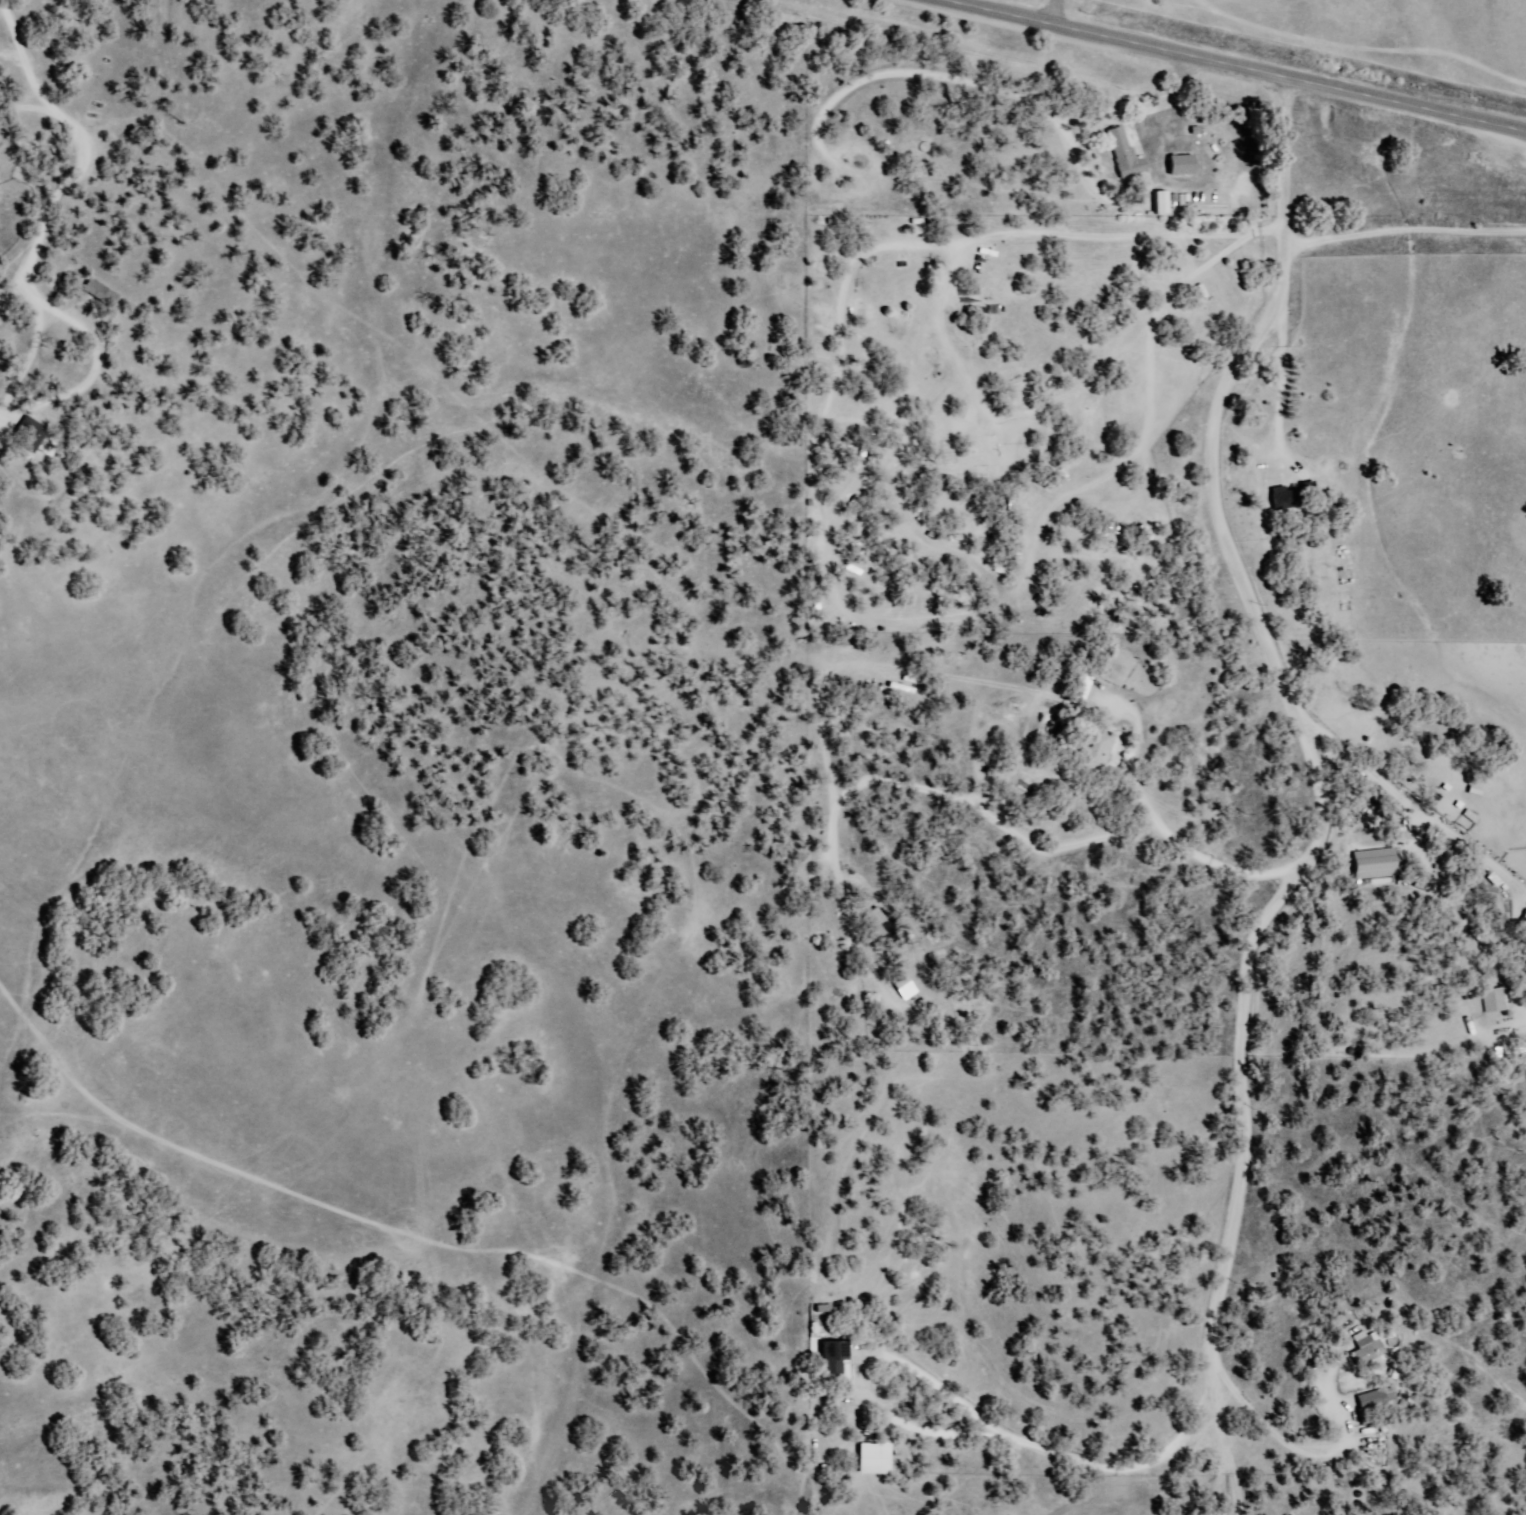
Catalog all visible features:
road: (987, 6)
road: (1176, 27)
road: (1226, 67)
building: (1123, 157)
building: (1179, 165)
road: (1393, 202)
building: (851, 227)
building: (98, 293)
road: (1241, 420)
building: (25, 434)
building: (1278, 497)
road: (1376, 590)
road: (1157, 652)
building: (896, 689)
building: (1078, 690)
road: (1389, 802)
building: (1467, 818)
building: (1370, 865)
building: (880, 928)
building: (902, 986)
building: (1490, 1001)
road: (1202, 1175)
building: (1364, 1352)
building: (833, 1358)
building: (1373, 1400)

